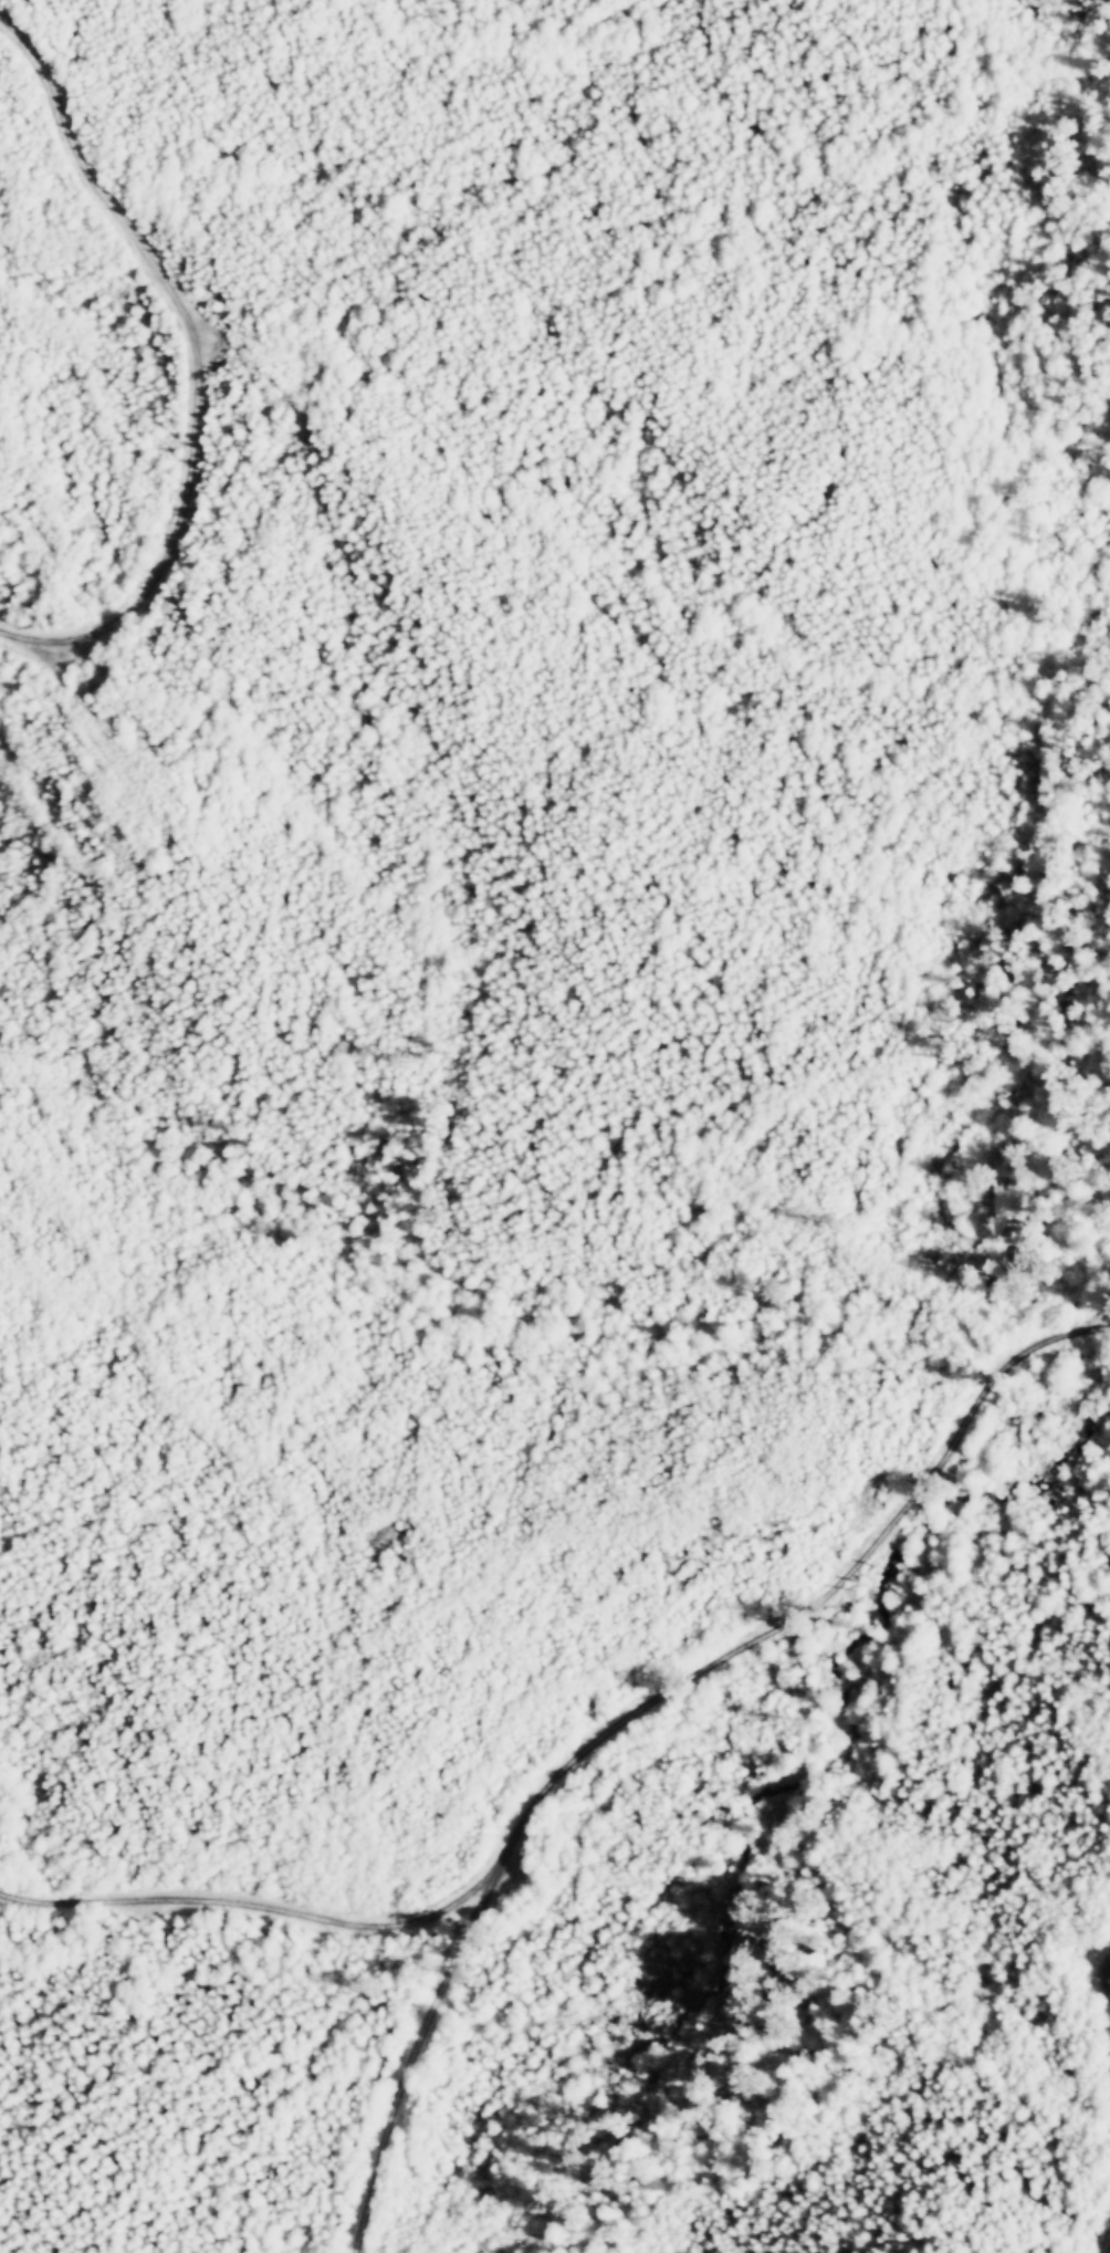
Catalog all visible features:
road: (129, 405)
road: (617, 1749)
road: (409, 2079)

